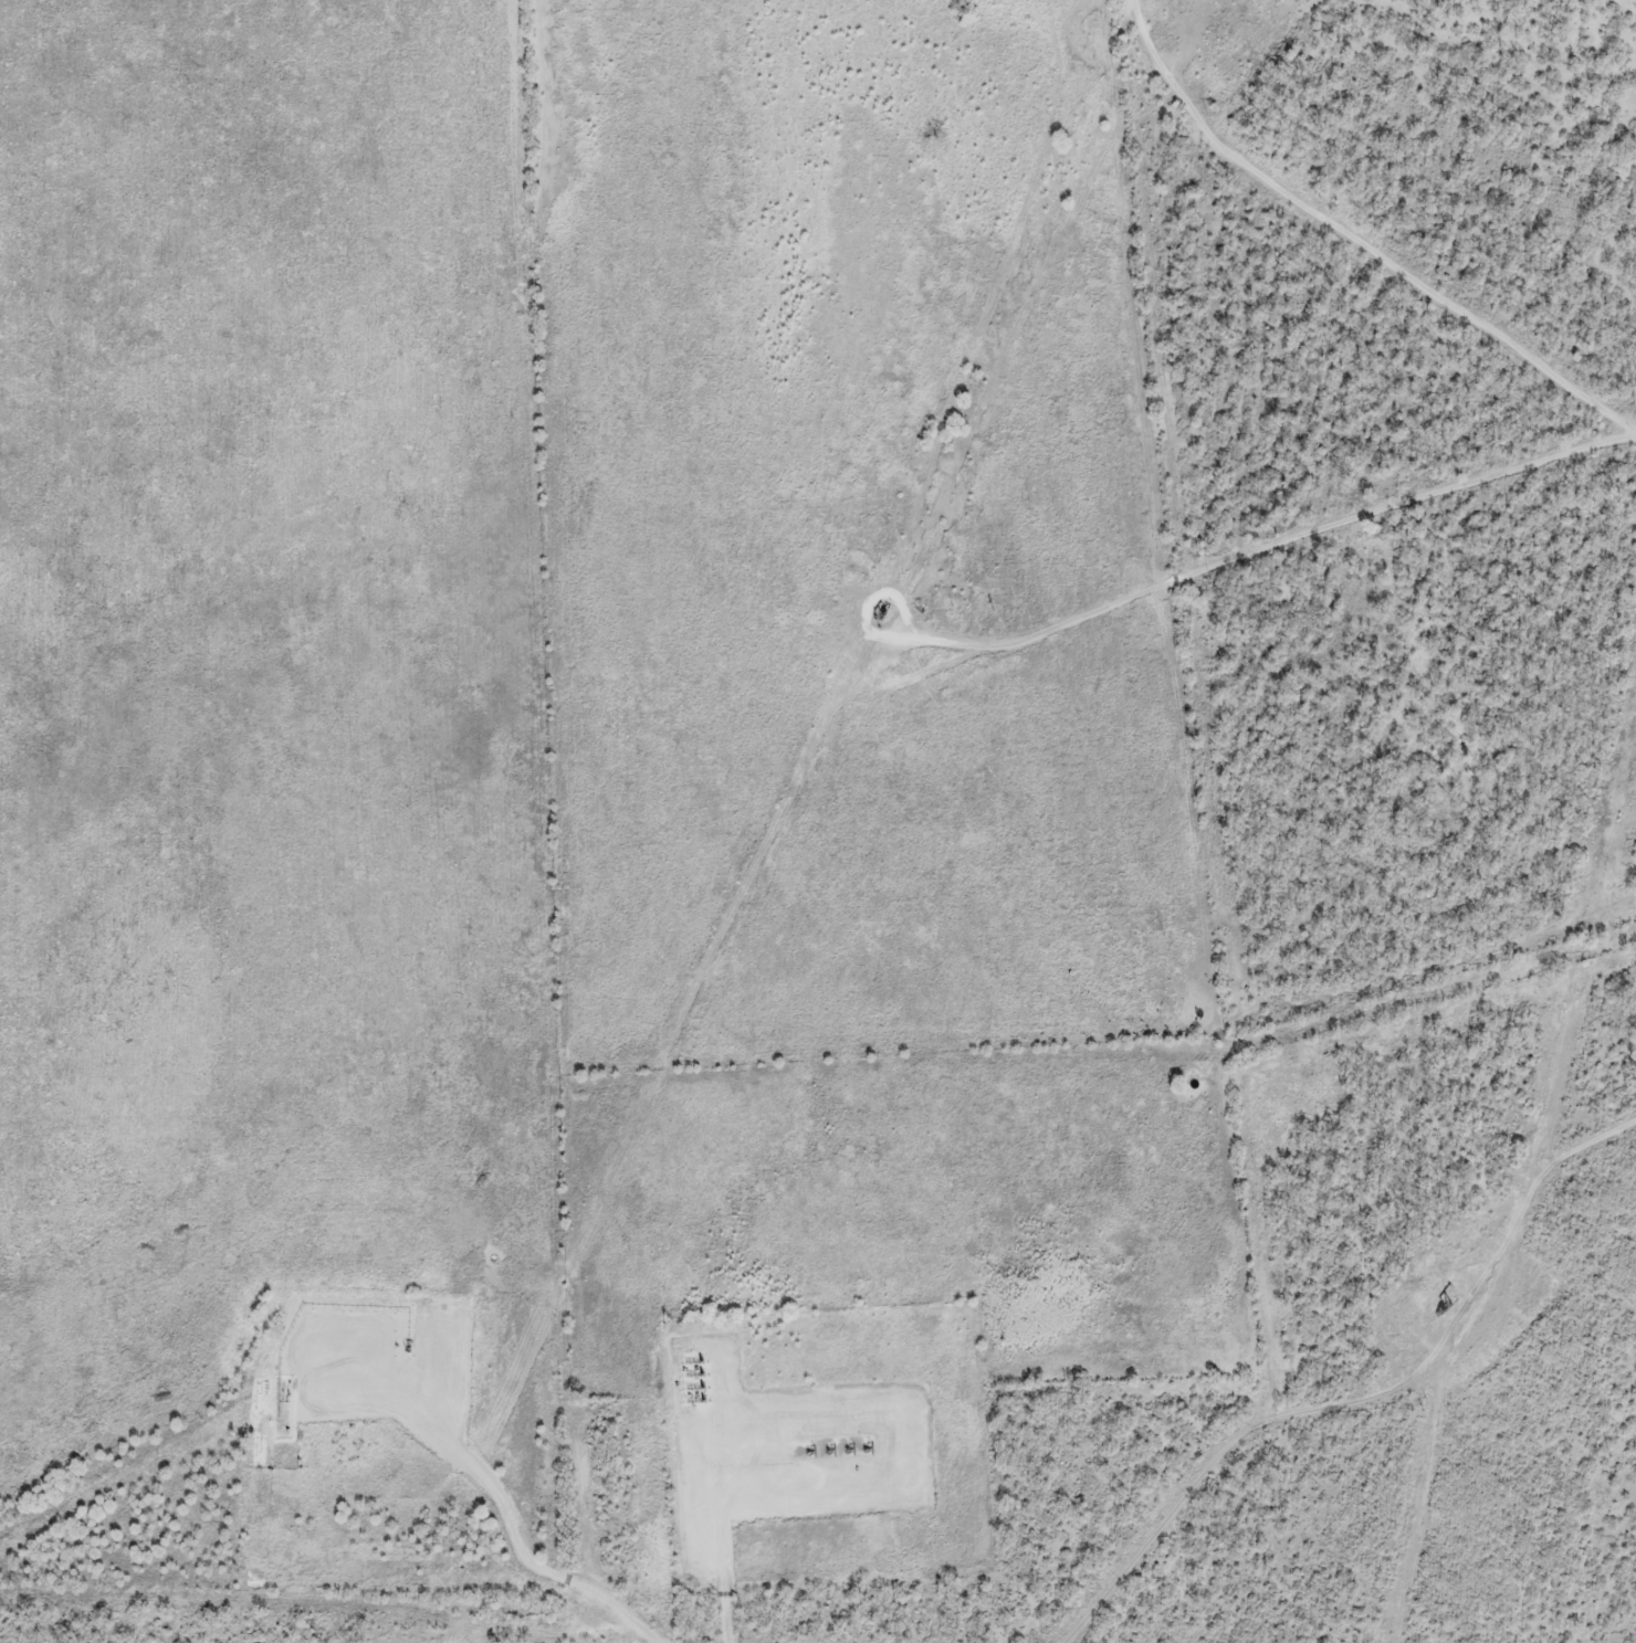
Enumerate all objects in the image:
road: (617, 1605)

